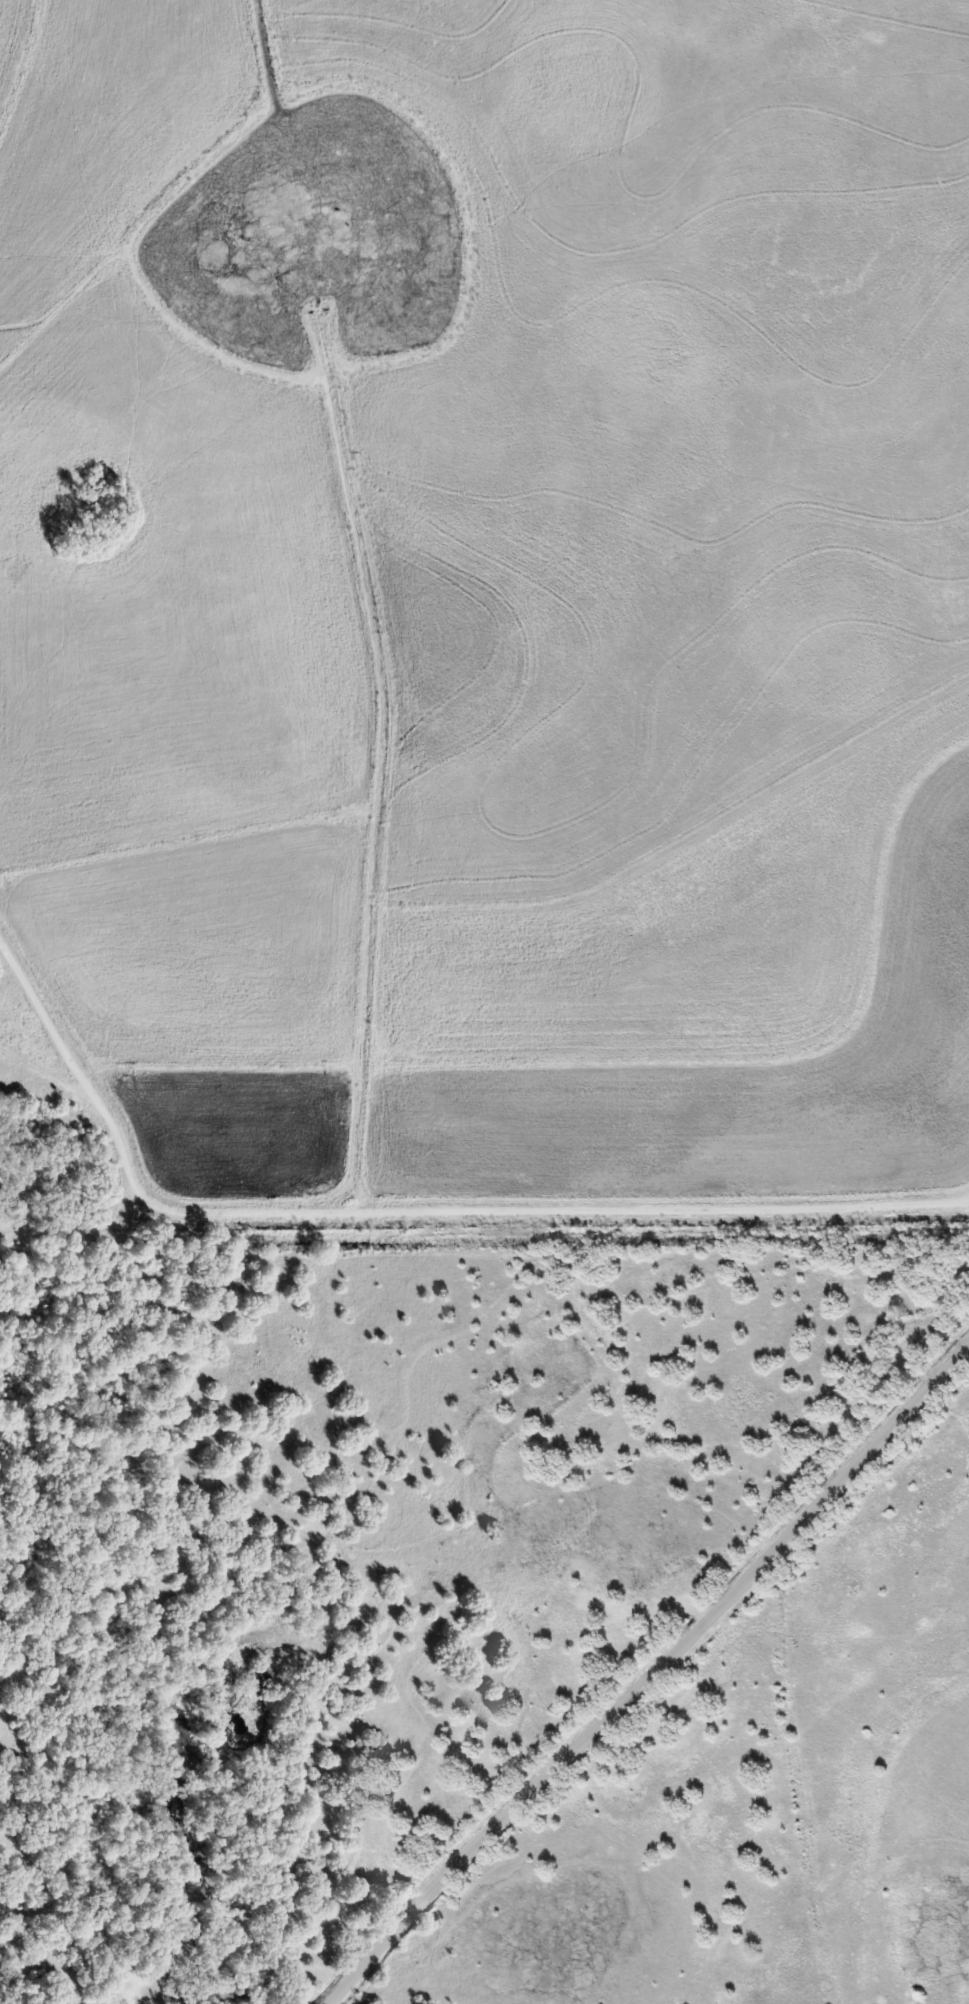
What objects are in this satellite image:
road: (653, 1678)

